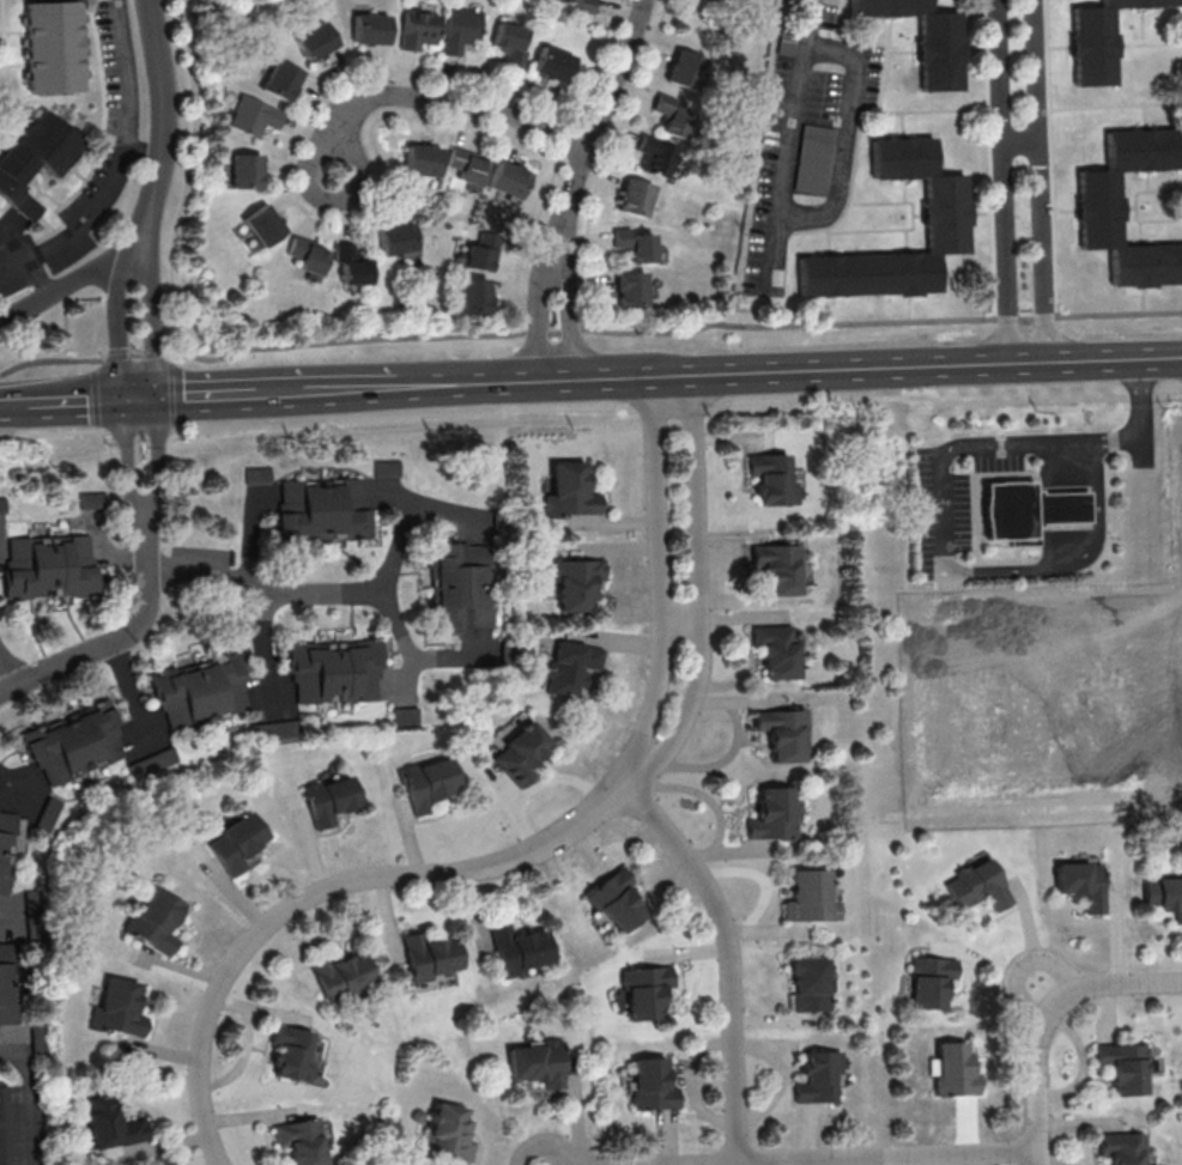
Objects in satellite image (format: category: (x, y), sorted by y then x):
building: (578, 5)
road: (807, 23)
building: (374, 30)
building: (422, 31)
building: (462, 31)
building: (919, 40)
building: (1096, 41)
building: (319, 42)
building: (514, 44)
building: (57, 49)
building: (557, 65)
building: (689, 72)
building: (284, 81)
road: (437, 101)
building: (255, 117)
building: (677, 117)
road: (163, 132)
road: (590, 134)
road: (1019, 141)
road: (144, 153)
building: (659, 158)
building: (37, 160)
building: (424, 162)
building: (469, 168)
road: (121, 169)
building: (249, 174)
building: (811, 180)
road: (1039, 180)
building: (511, 181)
road: (999, 181)
building: (638, 199)
building: (1092, 208)
road: (824, 214)
building: (940, 218)
building: (267, 226)
building: (399, 239)
building: (638, 245)
building: (484, 251)
building: (310, 257)
building: (354, 267)
road: (550, 273)
road: (40, 277)
road: (68, 284)
building: (634, 291)
building: (477, 297)
road: (154, 327)
road: (119, 328)
road: (587, 330)
road: (805, 370)
road: (345, 390)
road: (210, 396)
traffic signals: (158, 399)
road: (139, 400)
traffic signals: (121, 401)
road: (62, 402)
road: (1, 405)
road: (590, 421)
road: (1024, 444)
road: (160, 462)
road: (127, 463)
building: (775, 478)
building: (574, 490)
building: (91, 500)
building: (315, 506)
building: (1031, 508)
road: (1067, 563)
building: (51, 566)
building: (777, 569)
building: (581, 584)
building: (460, 587)
road: (334, 591)
road: (681, 619)
road: (116, 637)
road: (404, 643)
road: (263, 649)
building: (777, 651)
road: (8, 667)
building: (572, 668)
building: (337, 673)
road: (127, 691)
building: (204, 691)
building: (784, 734)
building: (78, 744)
building: (525, 753)
road: (634, 769)
building: (431, 783)
building: (333, 800)
building: (775, 814)
building: (240, 842)
building: (7, 849)
building: (1084, 882)
building: (981, 885)
road: (323, 891)
building: (1165, 894)
building: (814, 896)
building: (620, 902)
road: (7, 916)
building: (159, 918)
building: (522, 947)
road: (726, 954)
building: (434, 955)
building: (345, 975)
building: (932, 982)
road: (1163, 982)
building: (8, 983)
building: (812, 984)
building: (648, 993)
building: (122, 1008)
road: (1042, 1036)
building: (296, 1052)
building: (539, 1063)
building: (1126, 1066)
building: (957, 1068)
building: (820, 1076)
building: (654, 1085)
road: (25, 1096)
building: (115, 1123)
building: (5, 1124)
building: (450, 1131)
building: (303, 1141)
building: (1125, 1147)
road: (874, 1159)

